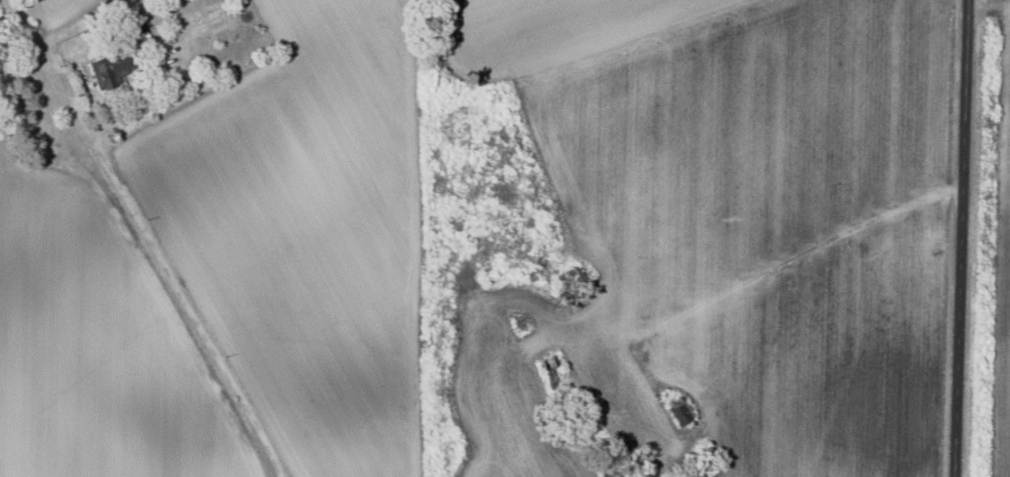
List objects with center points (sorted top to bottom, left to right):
building: (108, 70)
road: (142, 107)
road: (148, 236)
road: (961, 238)

